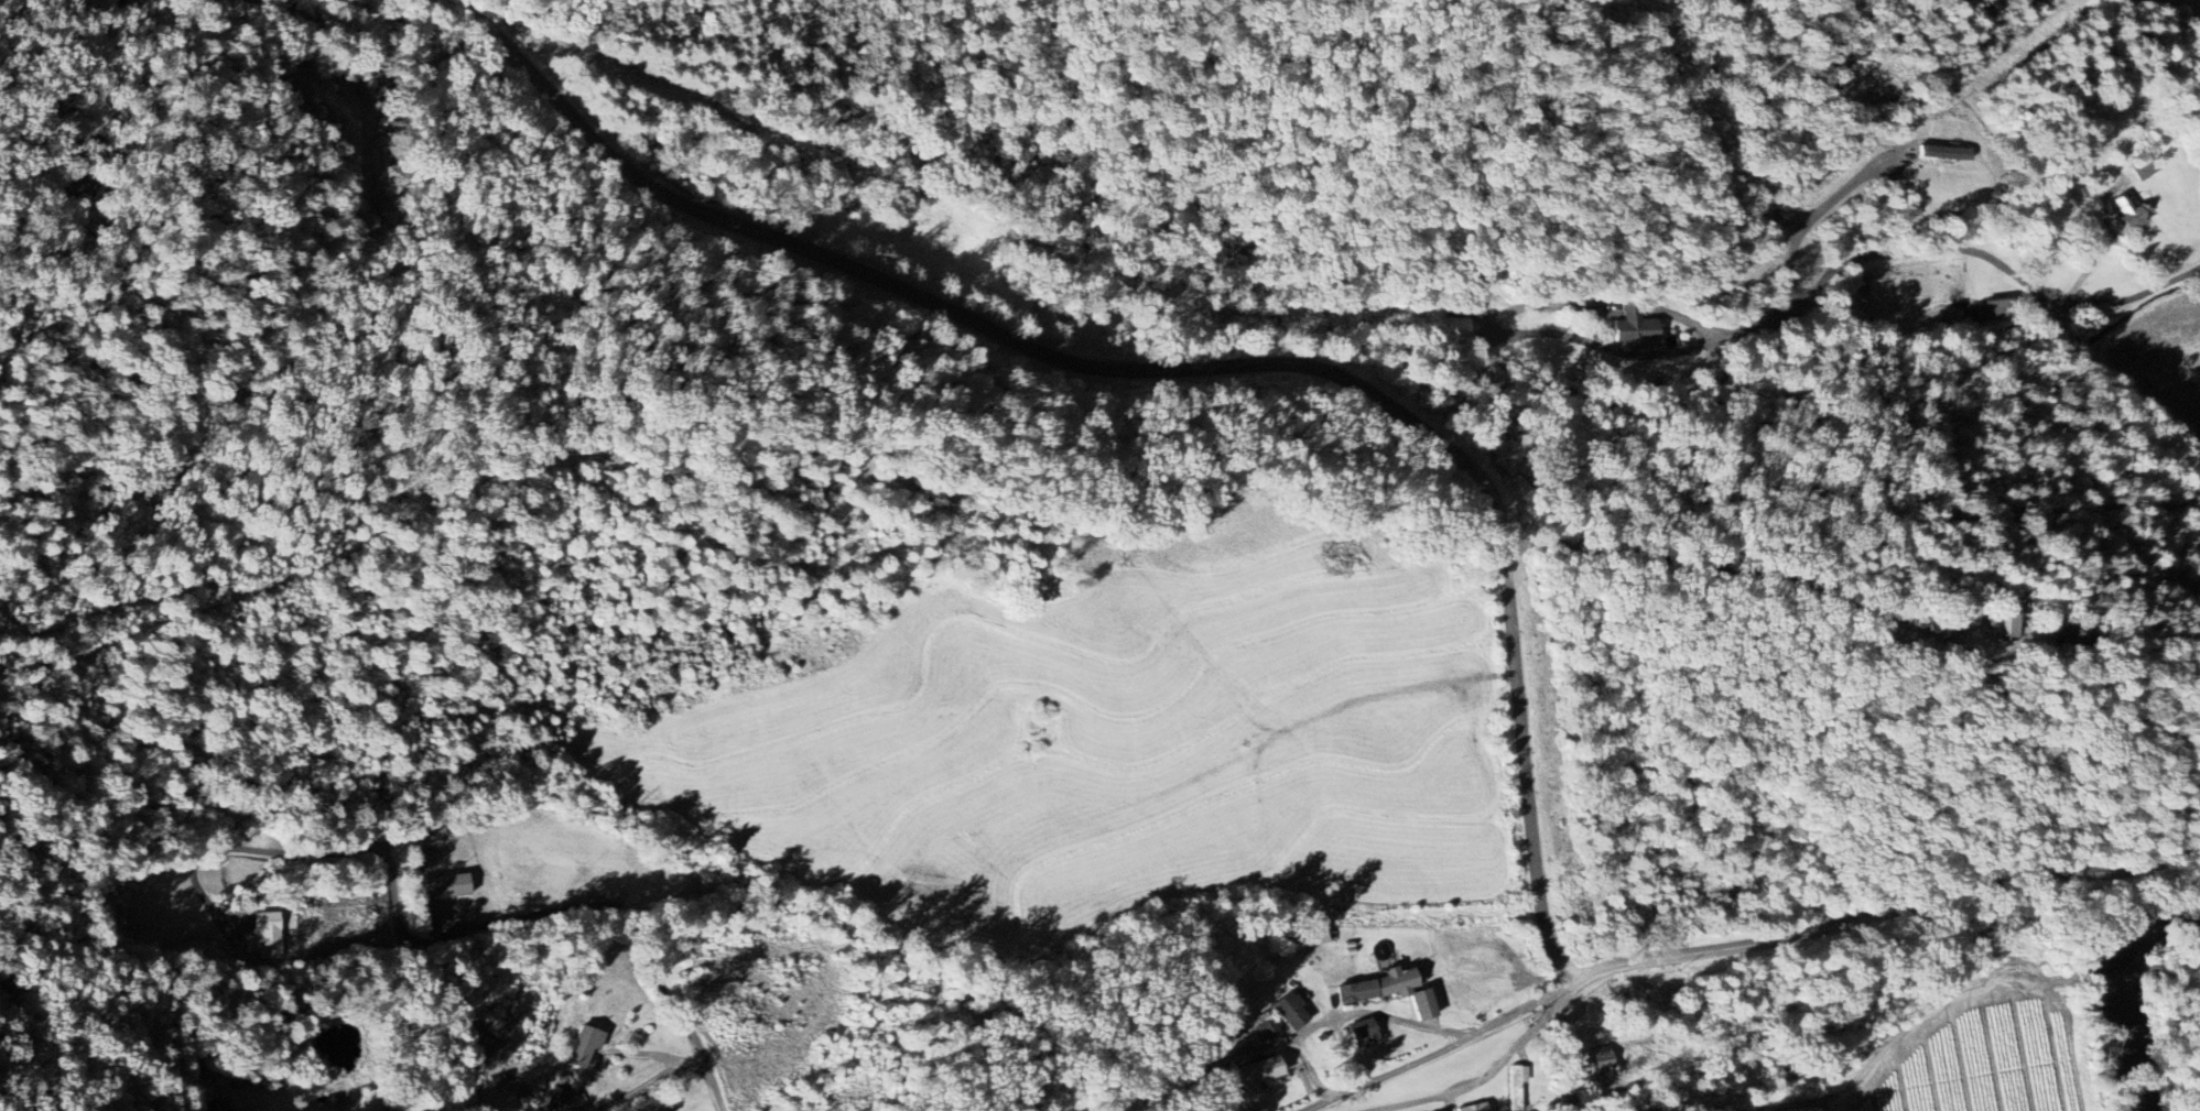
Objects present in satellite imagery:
road: (267, 42)
building: (2144, 167)
building: (2128, 211)
road: (1813, 214)
road: (1849, 257)
road: (2135, 292)
road: (1628, 308)
building: (1994, 309)
building: (1455, 329)
building: (1635, 329)
road: (1547, 331)
road: (2091, 348)
road: (1194, 368)
road: (1723, 565)
building: (2007, 629)
road: (517, 839)
building: (447, 886)
river: (2160, 918)
building: (267, 936)
building: (1452, 937)
road: (1746, 955)
building: (1484, 970)
building: (1392, 991)
building: (1462, 995)
road: (1352, 1011)
building: (1290, 1013)
building: (1364, 1033)
river: (2122, 1036)
building: (585, 1045)
road: (1560, 1046)
road: (1311, 1069)
building: (1258, 1072)
road: (1489, 1072)
road: (652, 1079)
building: (1517, 1086)
building: (560, 1101)
building: (1475, 1108)

